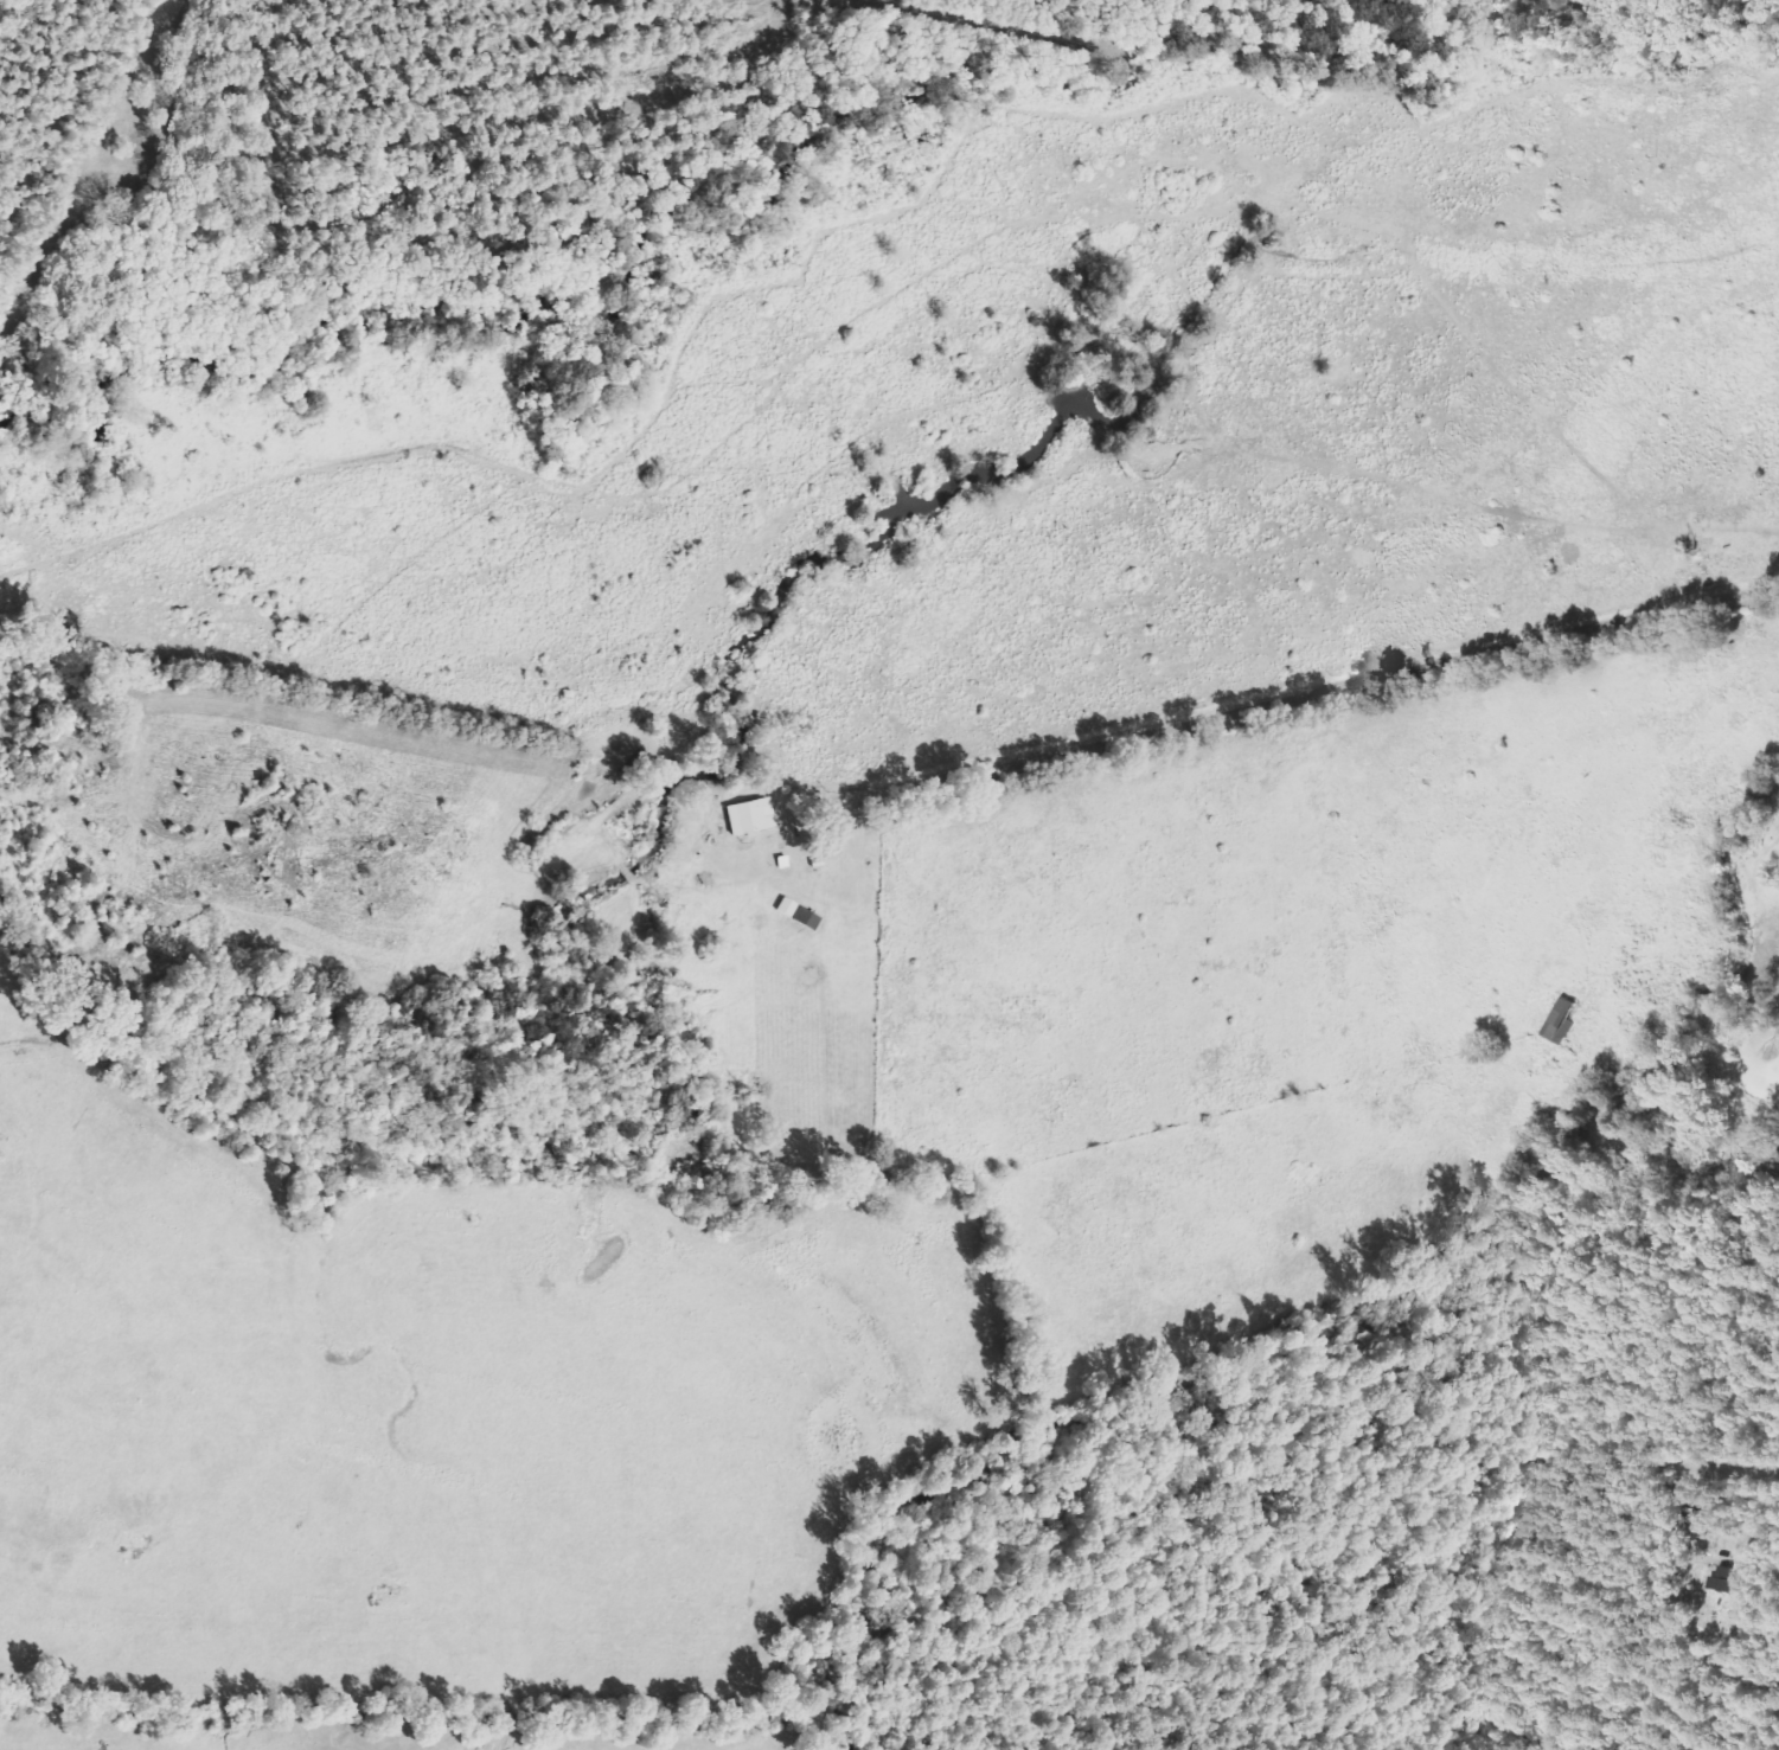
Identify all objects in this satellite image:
road: (1372, 686)
building: (753, 816)
building: (1562, 1021)
building: (1722, 1582)

